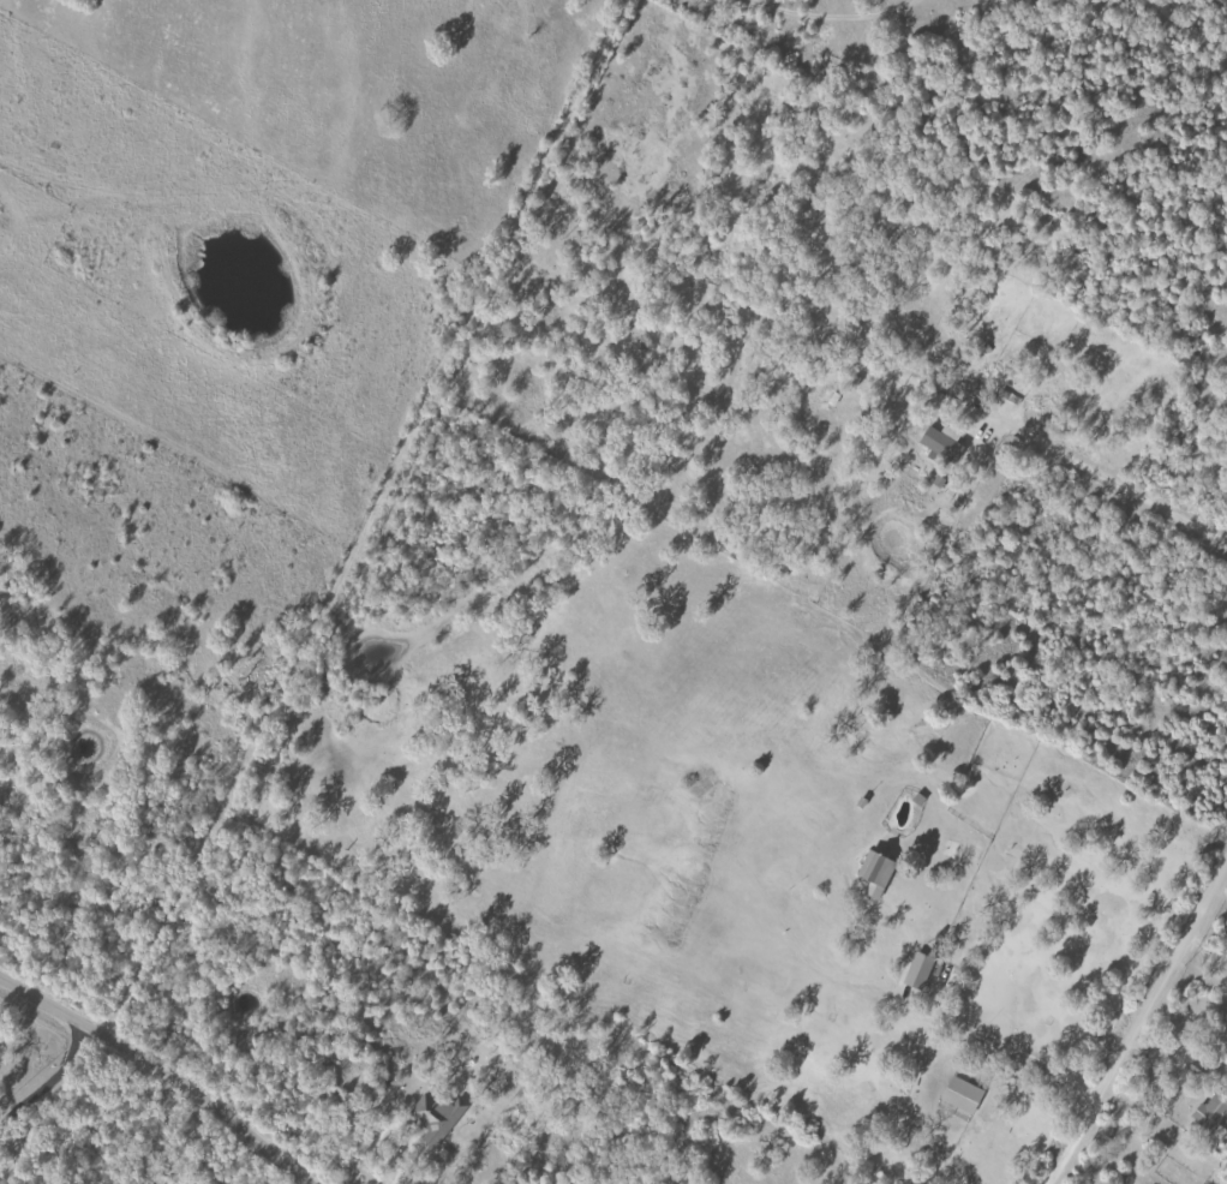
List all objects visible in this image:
road: (830, 17)
building: (940, 442)
road: (1076, 458)
road: (365, 522)
building: (873, 873)
building: (917, 970)
road: (1135, 1019)
road: (1008, 1054)
road: (157, 1072)
road: (48, 1083)
building: (960, 1094)
building: (1210, 1114)
building: (436, 1116)
road: (390, 1129)
road: (257, 1170)
road: (400, 1178)

